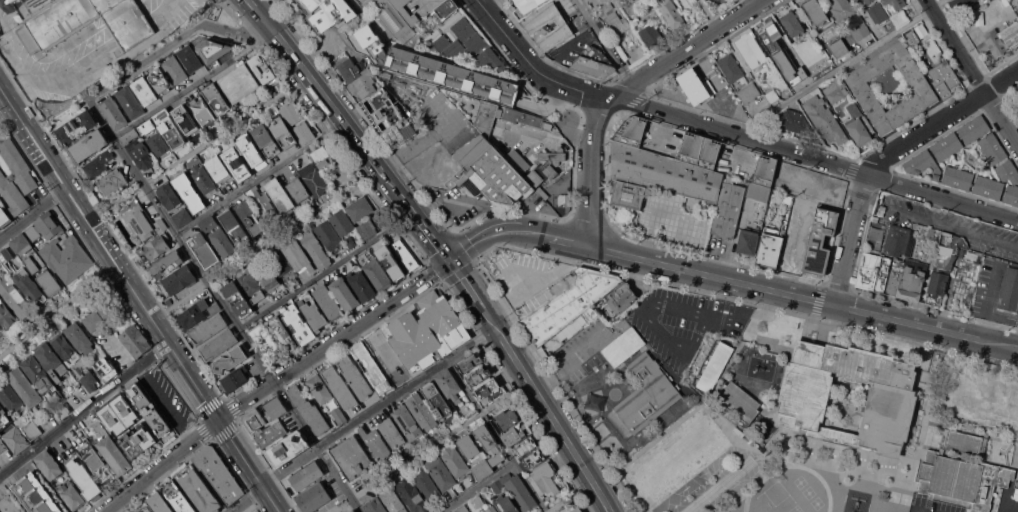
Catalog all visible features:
building: (990, 0)
building: (991, 0)
building: (596, 1)
building: (868, 1)
road: (484, 2)
building: (894, 3)
building: (528, 4)
building: (960, 4)
building: (607, 6)
building: (631, 6)
building: (1017, 7)
building: (447, 8)
building: (842, 8)
building: (878, 12)
building: (816, 13)
building: (328, 14)
building: (672, 14)
building: (395, 16)
building: (900, 18)
building: (980, 18)
building: (634, 21)
building: (85, 22)
building: (617, 23)
building: (792, 23)
building: (892, 26)
building: (563, 27)
building: (0, 33)
building: (858, 33)
road: (506, 34)
building: (651, 35)
building: (911, 38)
building: (1000, 39)
road: (178, 40)
road: (605, 42)
building: (467, 45)
building: (837, 45)
road: (688, 48)
building: (750, 48)
building: (210, 49)
building: (782, 55)
building: (190, 58)
building: (594, 62)
building: (262, 67)
road: (839, 67)
building: (348, 68)
building: (437, 68)
building: (731, 68)
building: (174, 69)
building: (808, 70)
road: (972, 72)
building: (943, 78)
building: (160, 80)
building: (239, 83)
building: (362, 84)
building: (696, 86)
building: (891, 87)
building: (835, 89)
building: (144, 90)
road: (189, 91)
building: (749, 92)
building: (772, 96)
building: (217, 99)
building: (130, 101)
building: (202, 110)
building: (113, 112)
road: (7, 116)
building: (391, 117)
building: (486, 117)
building: (522, 118)
building: (825, 120)
building: (187, 122)
building: (297, 122)
building: (793, 122)
building: (147, 125)
building: (859, 125)
building: (76, 127)
building: (169, 128)
road: (350, 128)
building: (974, 129)
building: (283, 133)
building: (265, 139)
road: (210, 141)
building: (158, 144)
building: (247, 145)
building: (89, 146)
road: (775, 147)
building: (947, 147)
building: (992, 148)
building: (139, 149)
road: (883, 155)
building: (322, 156)
building: (552, 156)
building: (98, 162)
building: (237, 164)
building: (19, 165)
building: (924, 165)
building: (663, 166)
building: (218, 168)
building: (524, 168)
road: (589, 169)
building: (551, 171)
building: (489, 172)
building: (958, 177)
building: (762, 178)
building: (203, 179)
building: (314, 179)
road: (262, 180)
building: (113, 182)
building: (1014, 182)
building: (988, 187)
building: (189, 191)
building: (299, 191)
building: (13, 195)
building: (279, 195)
building: (170, 196)
building: (788, 199)
building: (261, 203)
building: (359, 208)
building: (728, 209)
building: (223, 212)
road: (33, 214)
building: (183, 217)
building: (250, 217)
building: (4, 218)
building: (379, 221)
building: (143, 222)
building: (342, 222)
building: (209, 223)
building: (45, 227)
building: (368, 228)
building: (237, 231)
road: (536, 232)
building: (328, 235)
road: (484, 235)
building: (122, 236)
road: (565, 239)
building: (899, 240)
building: (821, 241)
building: (223, 242)
building: (350, 242)
building: (748, 242)
building: (21, 243)
road: (268, 246)
building: (770, 247)
building: (154, 248)
building: (204, 249)
building: (315, 249)
building: (5, 255)
building: (298, 255)
building: (405, 255)
building: (67, 258)
building: (929, 258)
traffic signals: (449, 260)
building: (280, 262)
building: (390, 262)
building: (31, 264)
building: (167, 264)
building: (943, 266)
road: (324, 269)
building: (874, 272)
building: (378, 274)
road: (709, 274)
building: (268, 277)
building: (907, 278)
building: (179, 280)
building: (49, 283)
road: (466, 283)
road: (535, 283)
building: (251, 286)
building: (362, 286)
building: (29, 287)
building: (1009, 289)
building: (344, 294)
building: (14, 296)
building: (621, 297)
building: (237, 299)
road: (139, 300)
building: (328, 302)
building: (570, 304)
road: (223, 305)
building: (109, 309)
building: (312, 311)
building: (197, 313)
building: (6, 315)
building: (93, 321)
building: (298, 324)
road: (924, 325)
road: (41, 326)
building: (209, 328)
building: (1, 331)
building: (428, 332)
building: (282, 334)
building: (80, 338)
building: (135, 341)
building: (218, 344)
building: (267, 344)
building: (64, 346)
building: (624, 346)
road: (1016, 347)
road: (579, 355)
building: (364, 357)
building: (231, 358)
building: (51, 361)
building: (471, 362)
building: (715, 366)
building: (106, 369)
building: (37, 372)
building: (479, 375)
building: (355, 376)
building: (87, 378)
building: (235, 379)
road: (274, 381)
building: (450, 385)
building: (24, 386)
building: (340, 387)
building: (378, 387)
building: (487, 388)
building: (319, 389)
building: (10, 396)
building: (644, 397)
building: (892, 398)
building: (436, 399)
building: (738, 401)
building: (275, 407)
road: (378, 407)
building: (149, 409)
road: (547, 409)
building: (310, 410)
road: (84, 411)
building: (423, 412)
building: (118, 414)
building: (338, 414)
building: (4, 418)
building: (254, 419)
building: (506, 419)
building: (407, 422)
building: (32, 430)
building: (392, 433)
building: (271, 434)
building: (512, 435)
road: (496, 436)
building: (16, 440)
building: (137, 440)
building: (375, 443)
building: (489, 443)
building: (2, 446)
road: (430, 446)
building: (525, 446)
building: (469, 447)
building: (288, 448)
building: (111, 450)
building: (353, 457)
building: (532, 460)
building: (455, 461)
building: (96, 463)
building: (49, 465)
building: (482, 469)
building: (962, 471)
building: (218, 473)
building: (441, 473)
building: (307, 476)
building: (545, 479)
building: (84, 480)
building: (426, 484)
road: (477, 487)
road: (902, 489)
building: (199, 490)
building: (518, 491)
building: (36, 494)
building: (70, 494)
building: (412, 495)
building: (178, 497)
building: (313, 498)
road: (245, 499)
building: (393, 500)
building: (477, 501)
building: (159, 503)
building: (9, 504)
building: (506, 504)
building: (375, 505)
building: (145, 509)
building: (462, 509)
building: (491, 509)
building: (577, 509)
building: (0, 511)
building: (353, 511)

